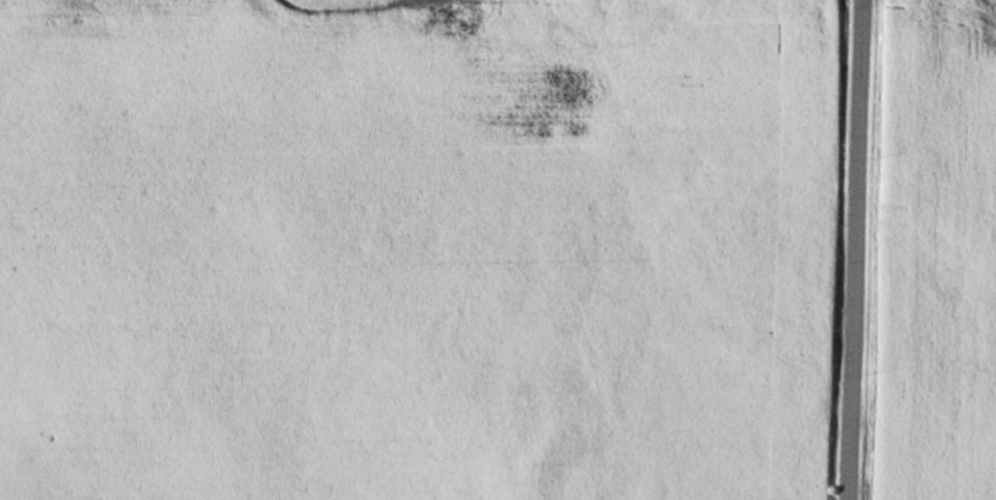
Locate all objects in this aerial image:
road: (856, 250)

